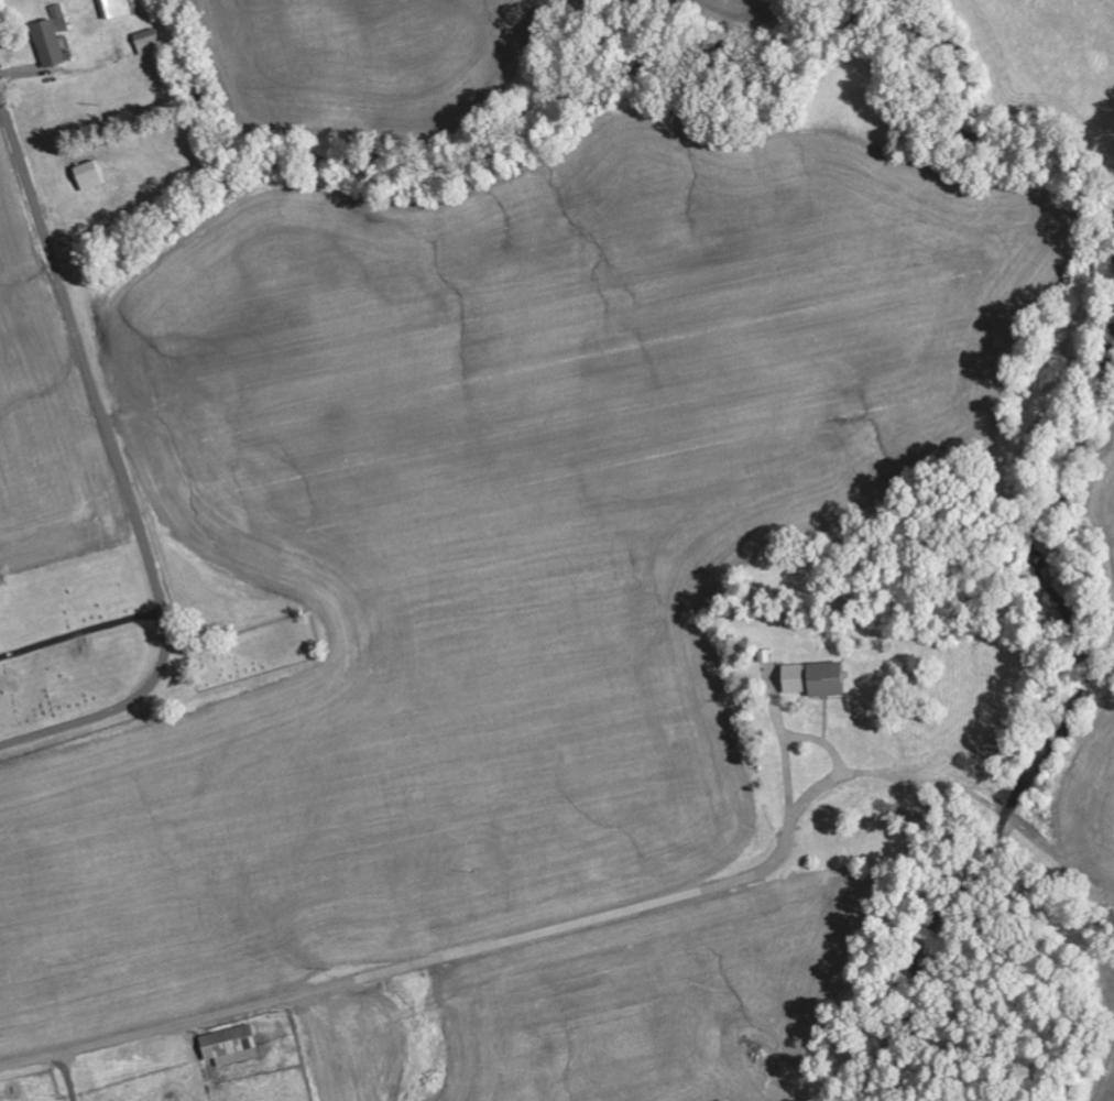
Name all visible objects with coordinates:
building: (116, 9)
building: (53, 39)
building: (150, 43)
building: (90, 177)
road: (119, 468)
park: (73, 635)
park: (254, 651)
building: (817, 680)
road: (834, 770)
road: (483, 948)
building: (232, 1047)

